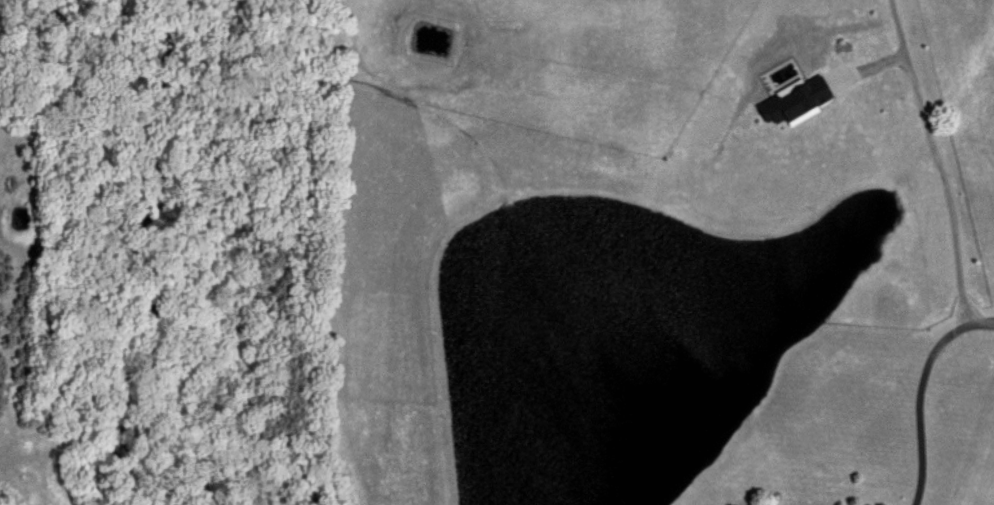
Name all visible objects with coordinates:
road: (932, 159)
road: (916, 388)

